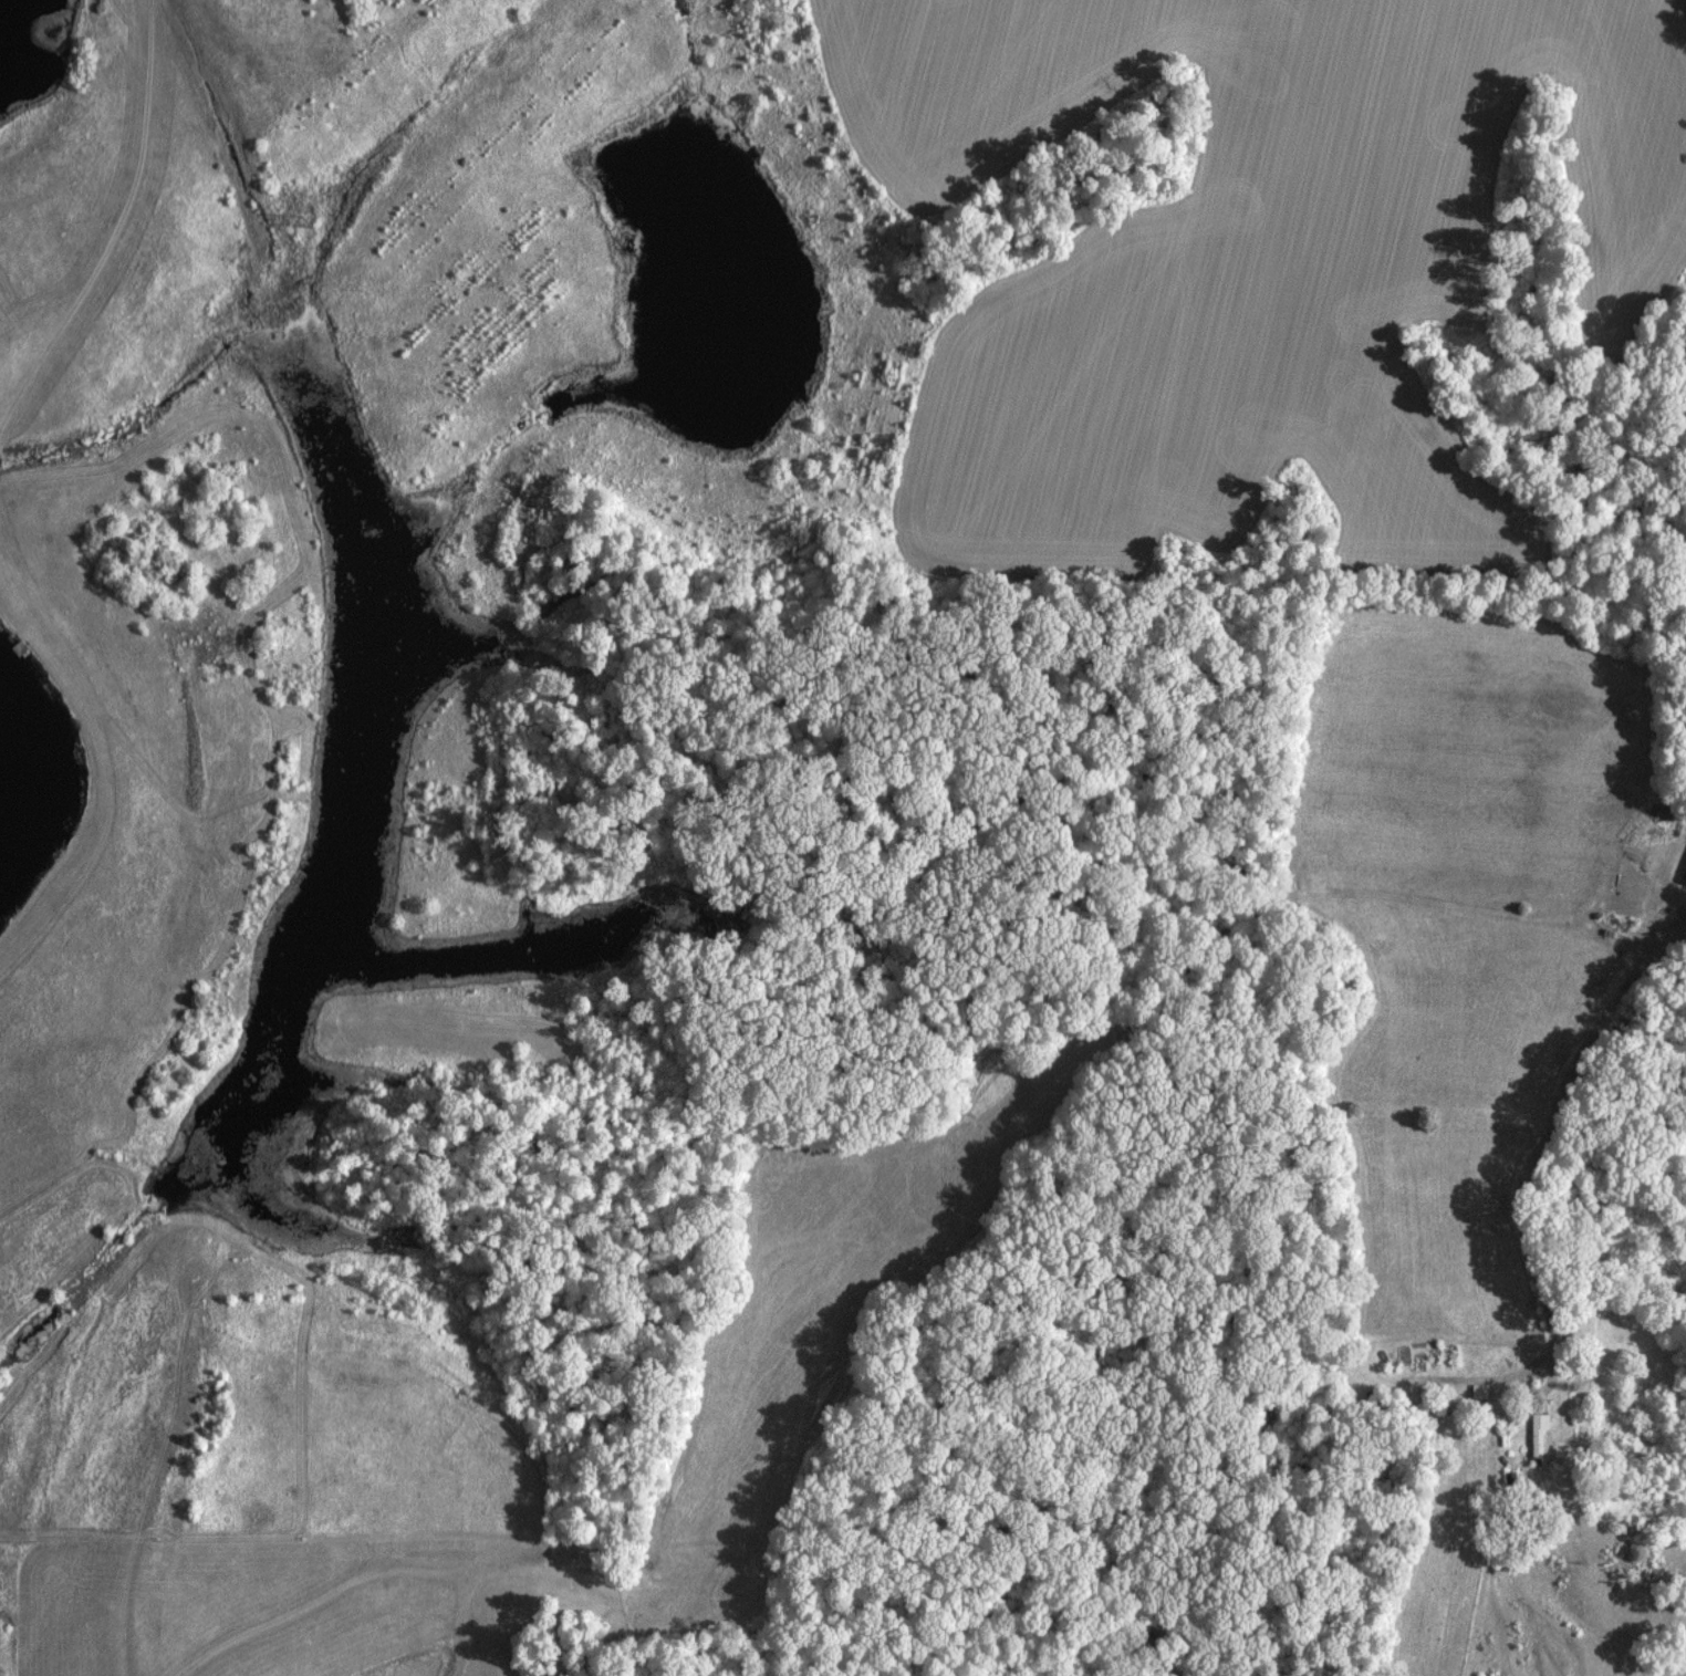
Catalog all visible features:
power tower: (310, 218)
road: (1013, 820)
building: (1684, 875)
road: (902, 1279)
building: (1538, 1432)

